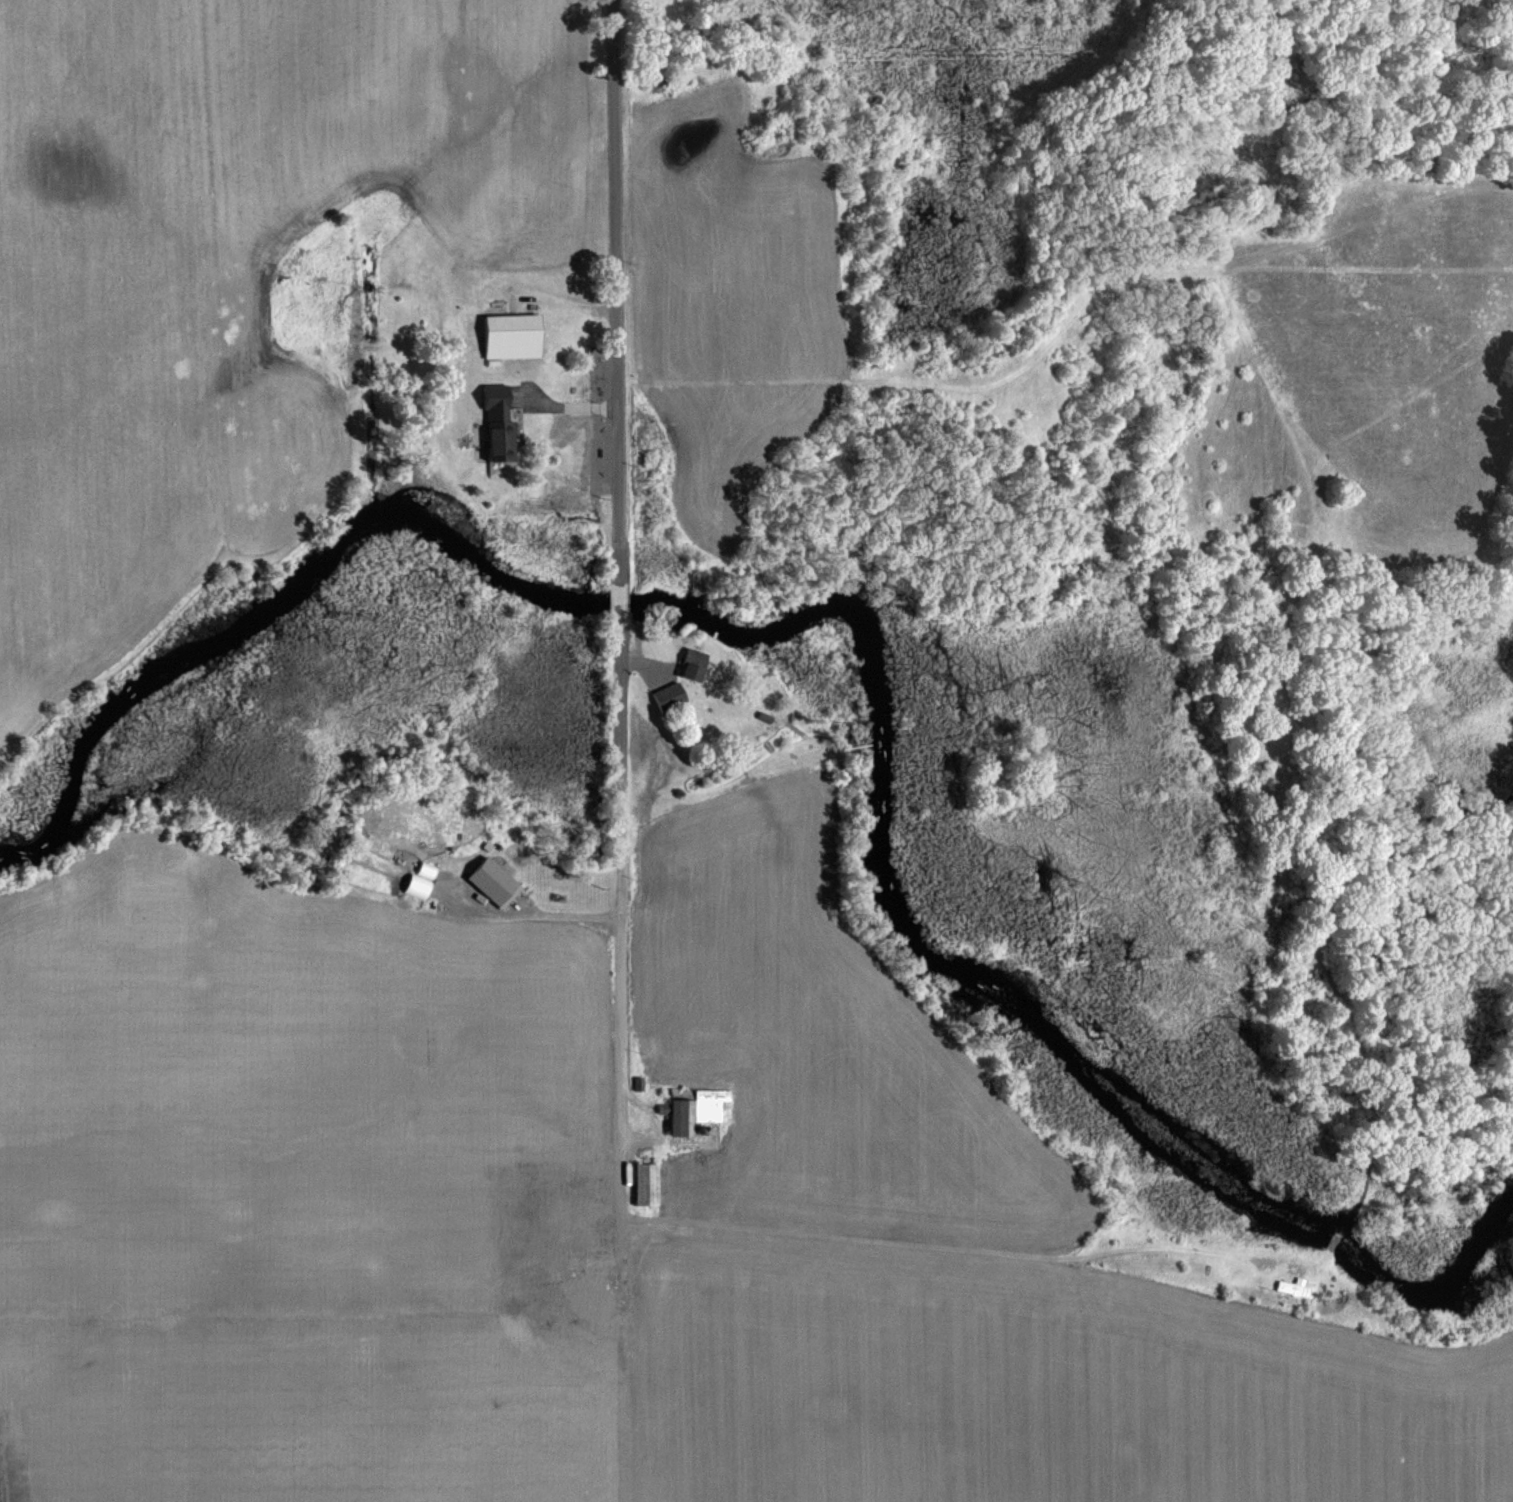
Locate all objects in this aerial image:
road: (614, 274)
building: (517, 336)
building: (503, 424)
road: (621, 599)
river: (876, 633)
building: (697, 663)
building: (671, 696)
building: (496, 881)
road: (619, 919)
building: (699, 1108)
building: (648, 1184)
building: (594, 1284)
building: (1302, 1288)

